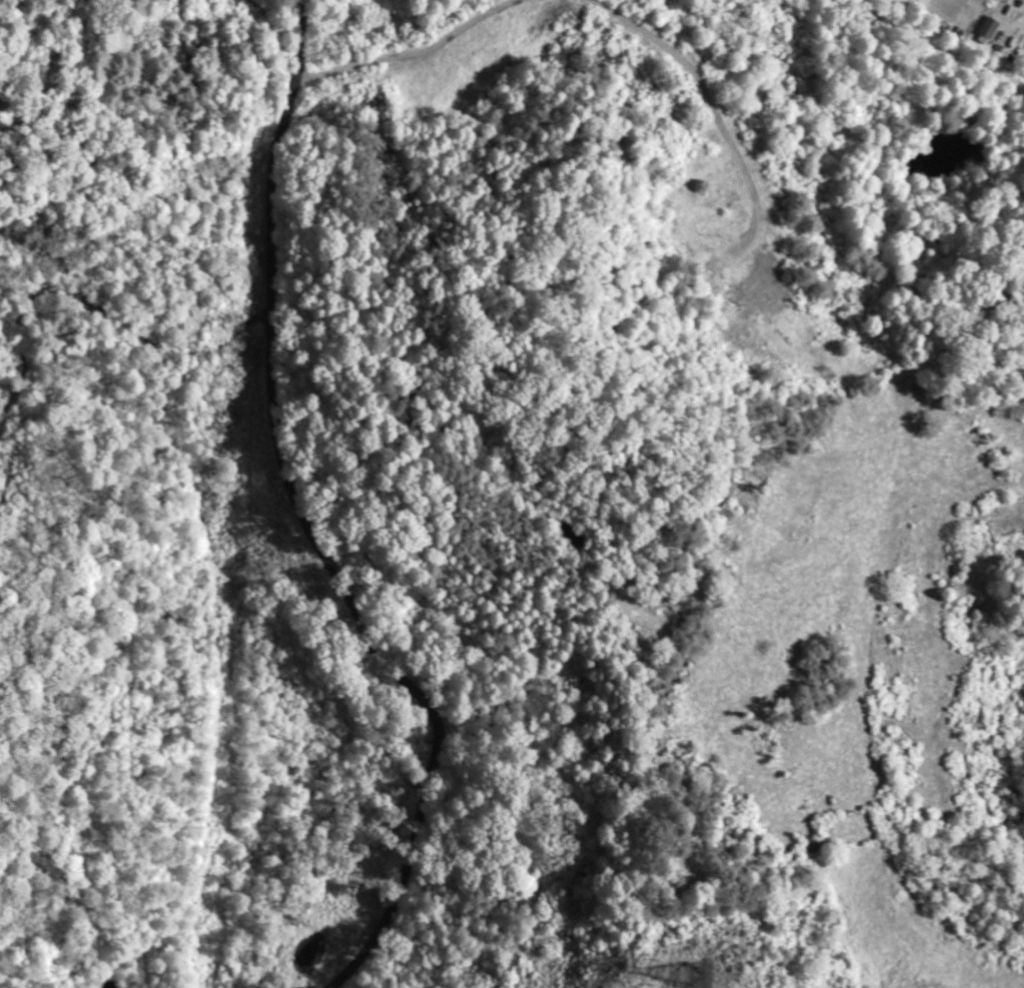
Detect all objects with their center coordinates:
building: (992, 27)
building: (763, 280)
road: (312, 524)
power tower: (700, 974)

